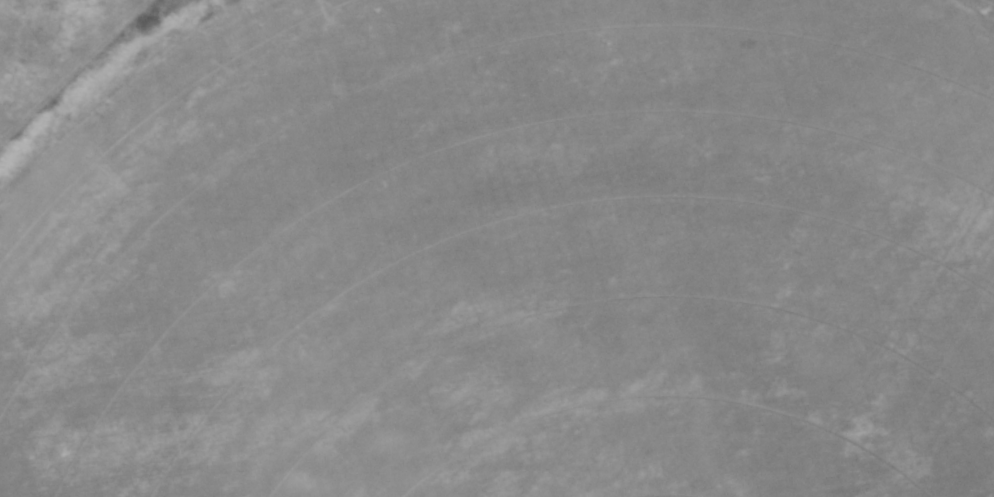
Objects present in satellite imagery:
crop: (516, 257)

